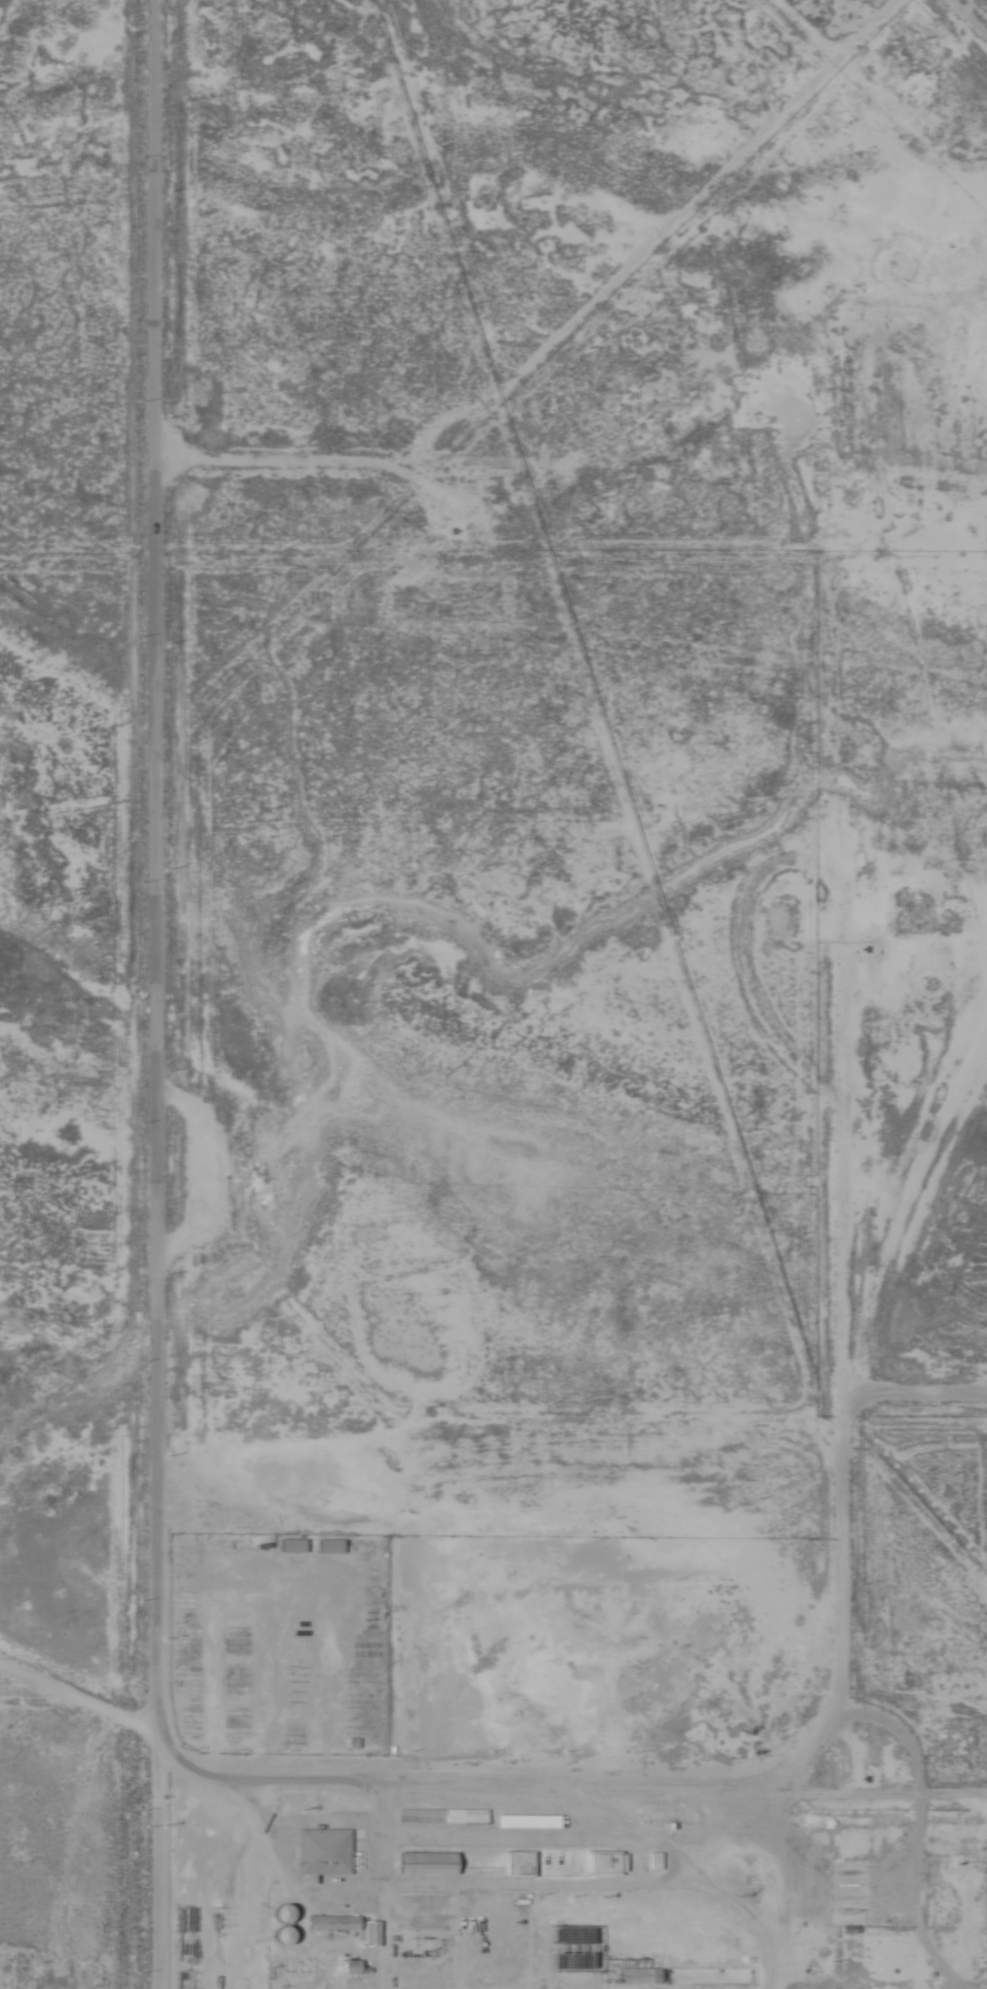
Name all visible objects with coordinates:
road: (299, 467)
road: (149, 1008)
road: (889, 1442)
building: (291, 1546)
building: (329, 1546)
building: (233, 1677)
road: (700, 1744)
building: (441, 1817)
building: (529, 1822)
building: (322, 1852)
building: (604, 1863)
building: (423, 1864)
building: (517, 1864)
building: (280, 1913)
building: (331, 1923)
building: (280, 1935)
building: (637, 1975)

